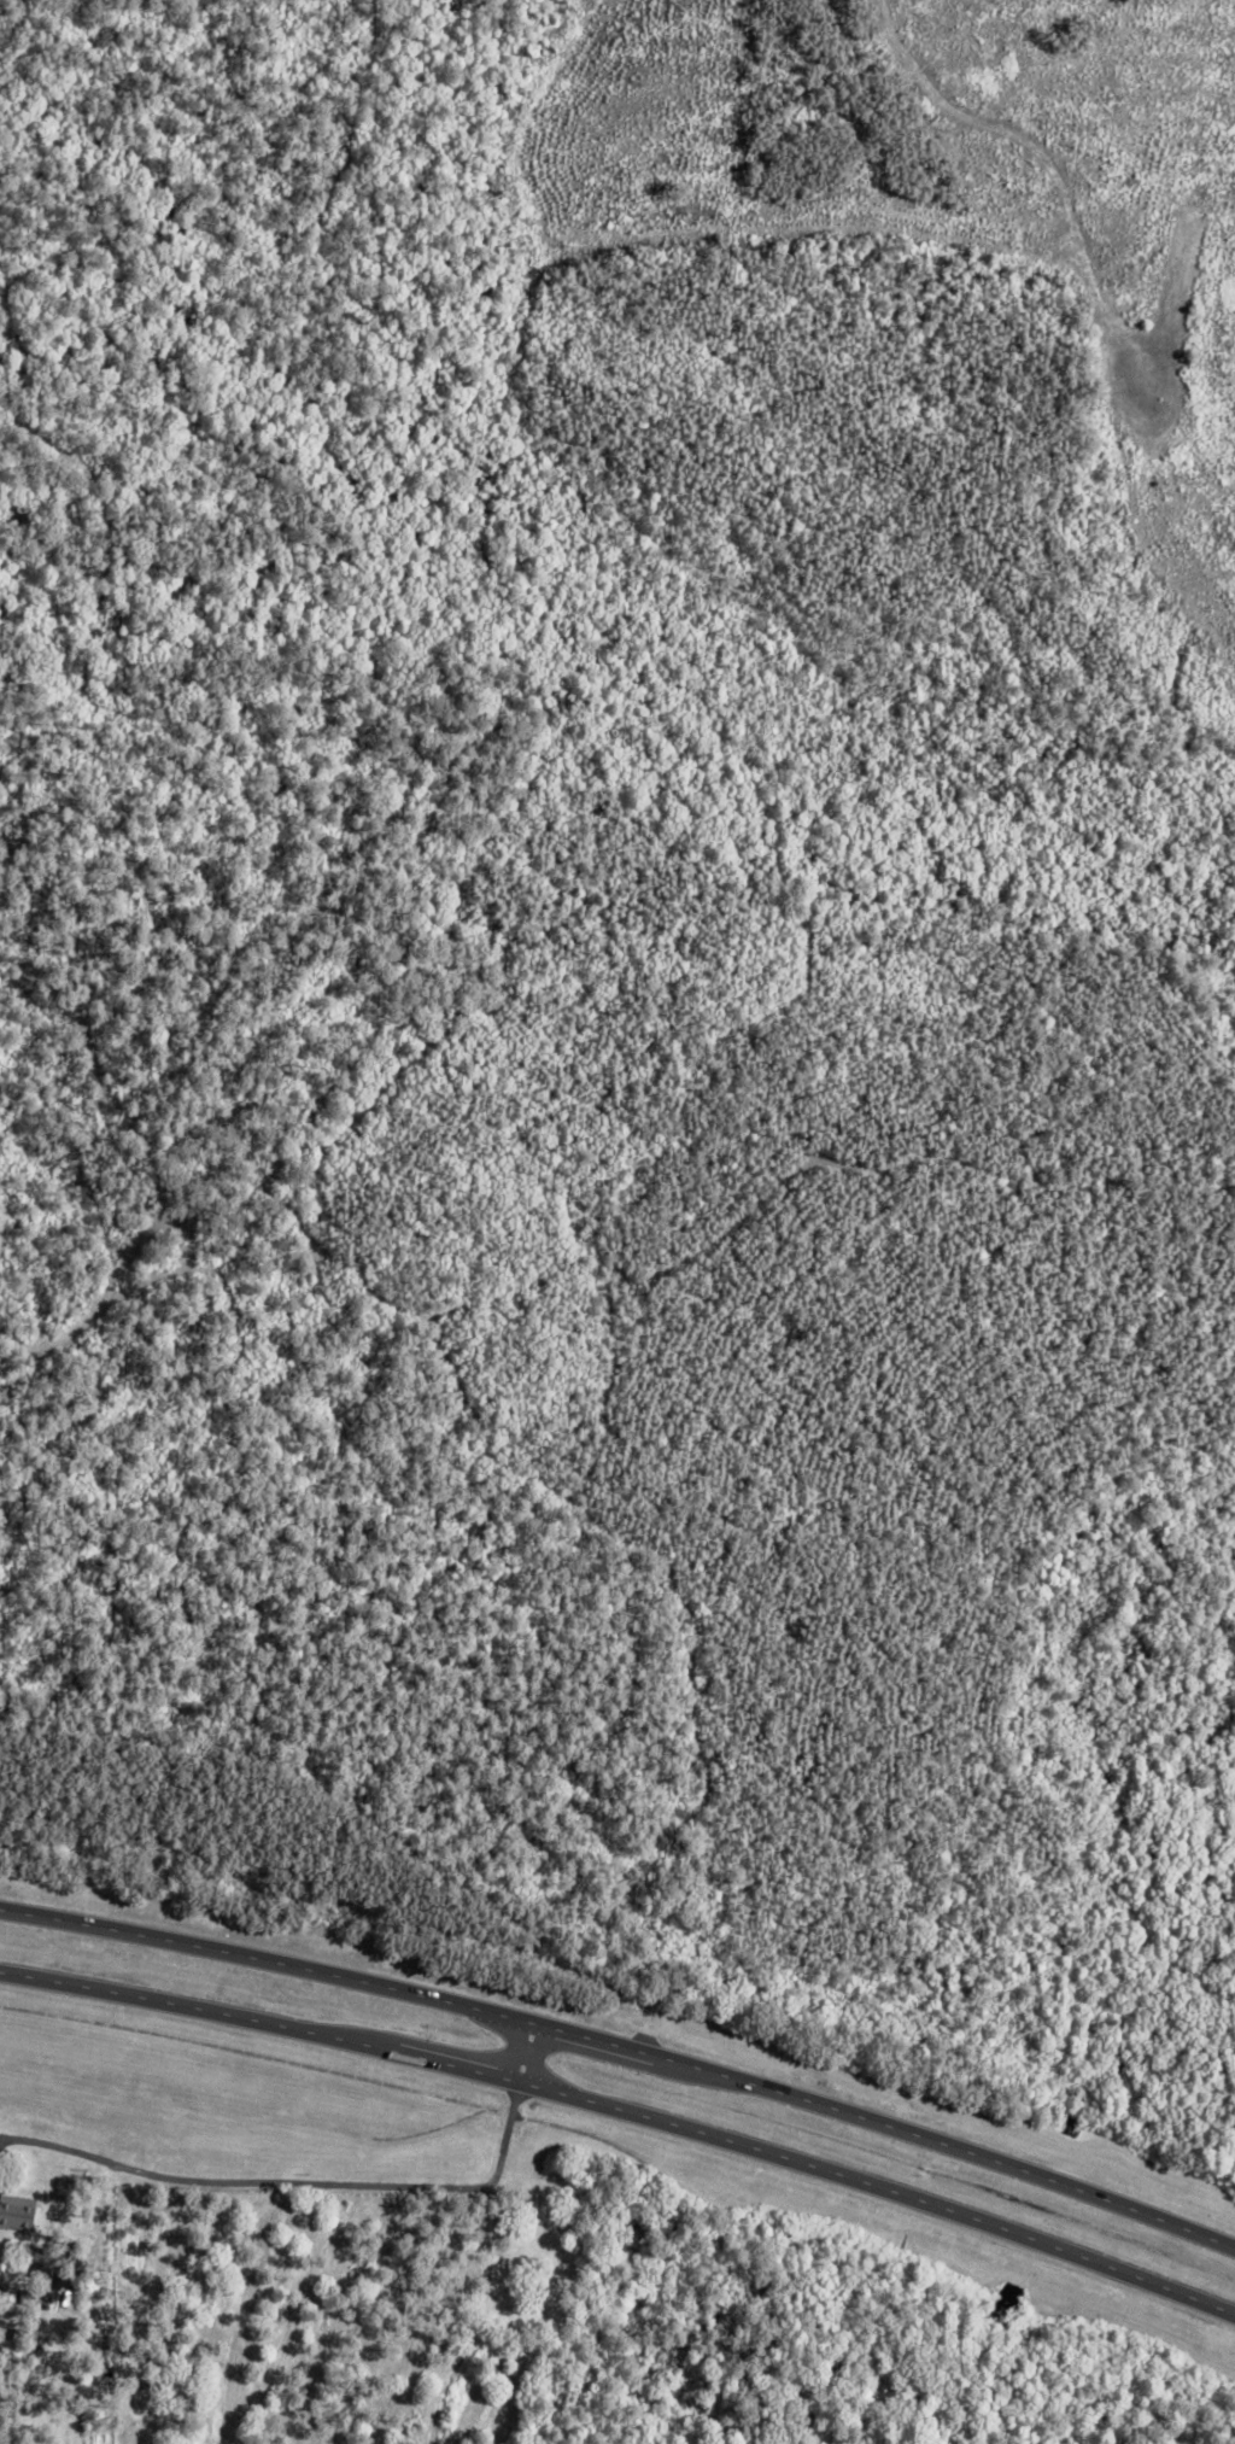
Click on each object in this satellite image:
road: (625, 2048)
road: (527, 2052)
road: (626, 2111)
road: (309, 2182)
building: (17, 2212)
building: (51, 2258)

